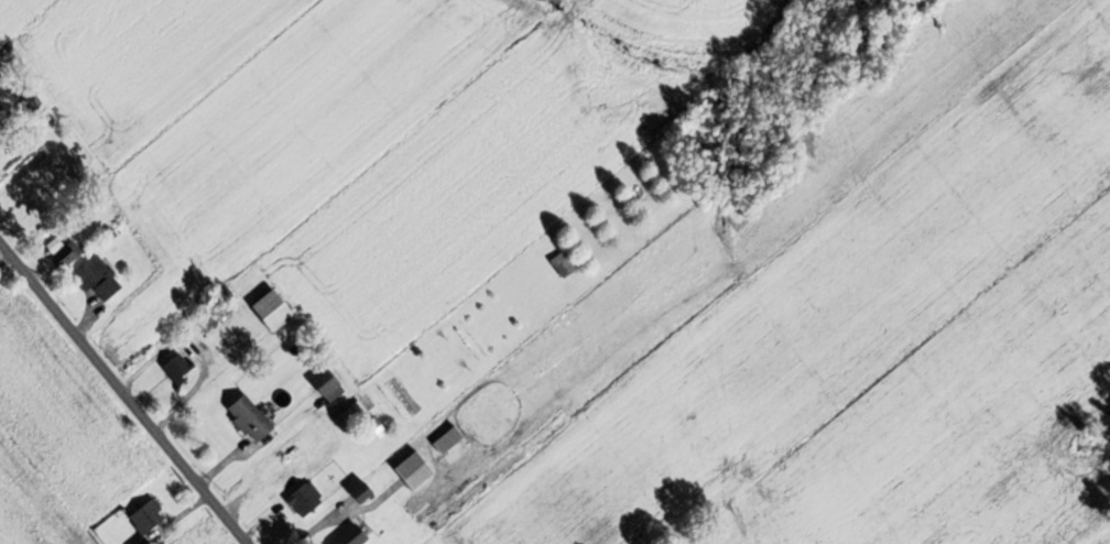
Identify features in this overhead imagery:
building: (1, 100)
building: (68, 254)
building: (564, 264)
building: (99, 279)
building: (277, 309)
building: (181, 368)
building: (331, 384)
road: (122, 394)
building: (350, 417)
building: (252, 418)
building: (451, 439)
building: (418, 470)
building: (366, 492)
building: (306, 499)
building: (150, 519)

